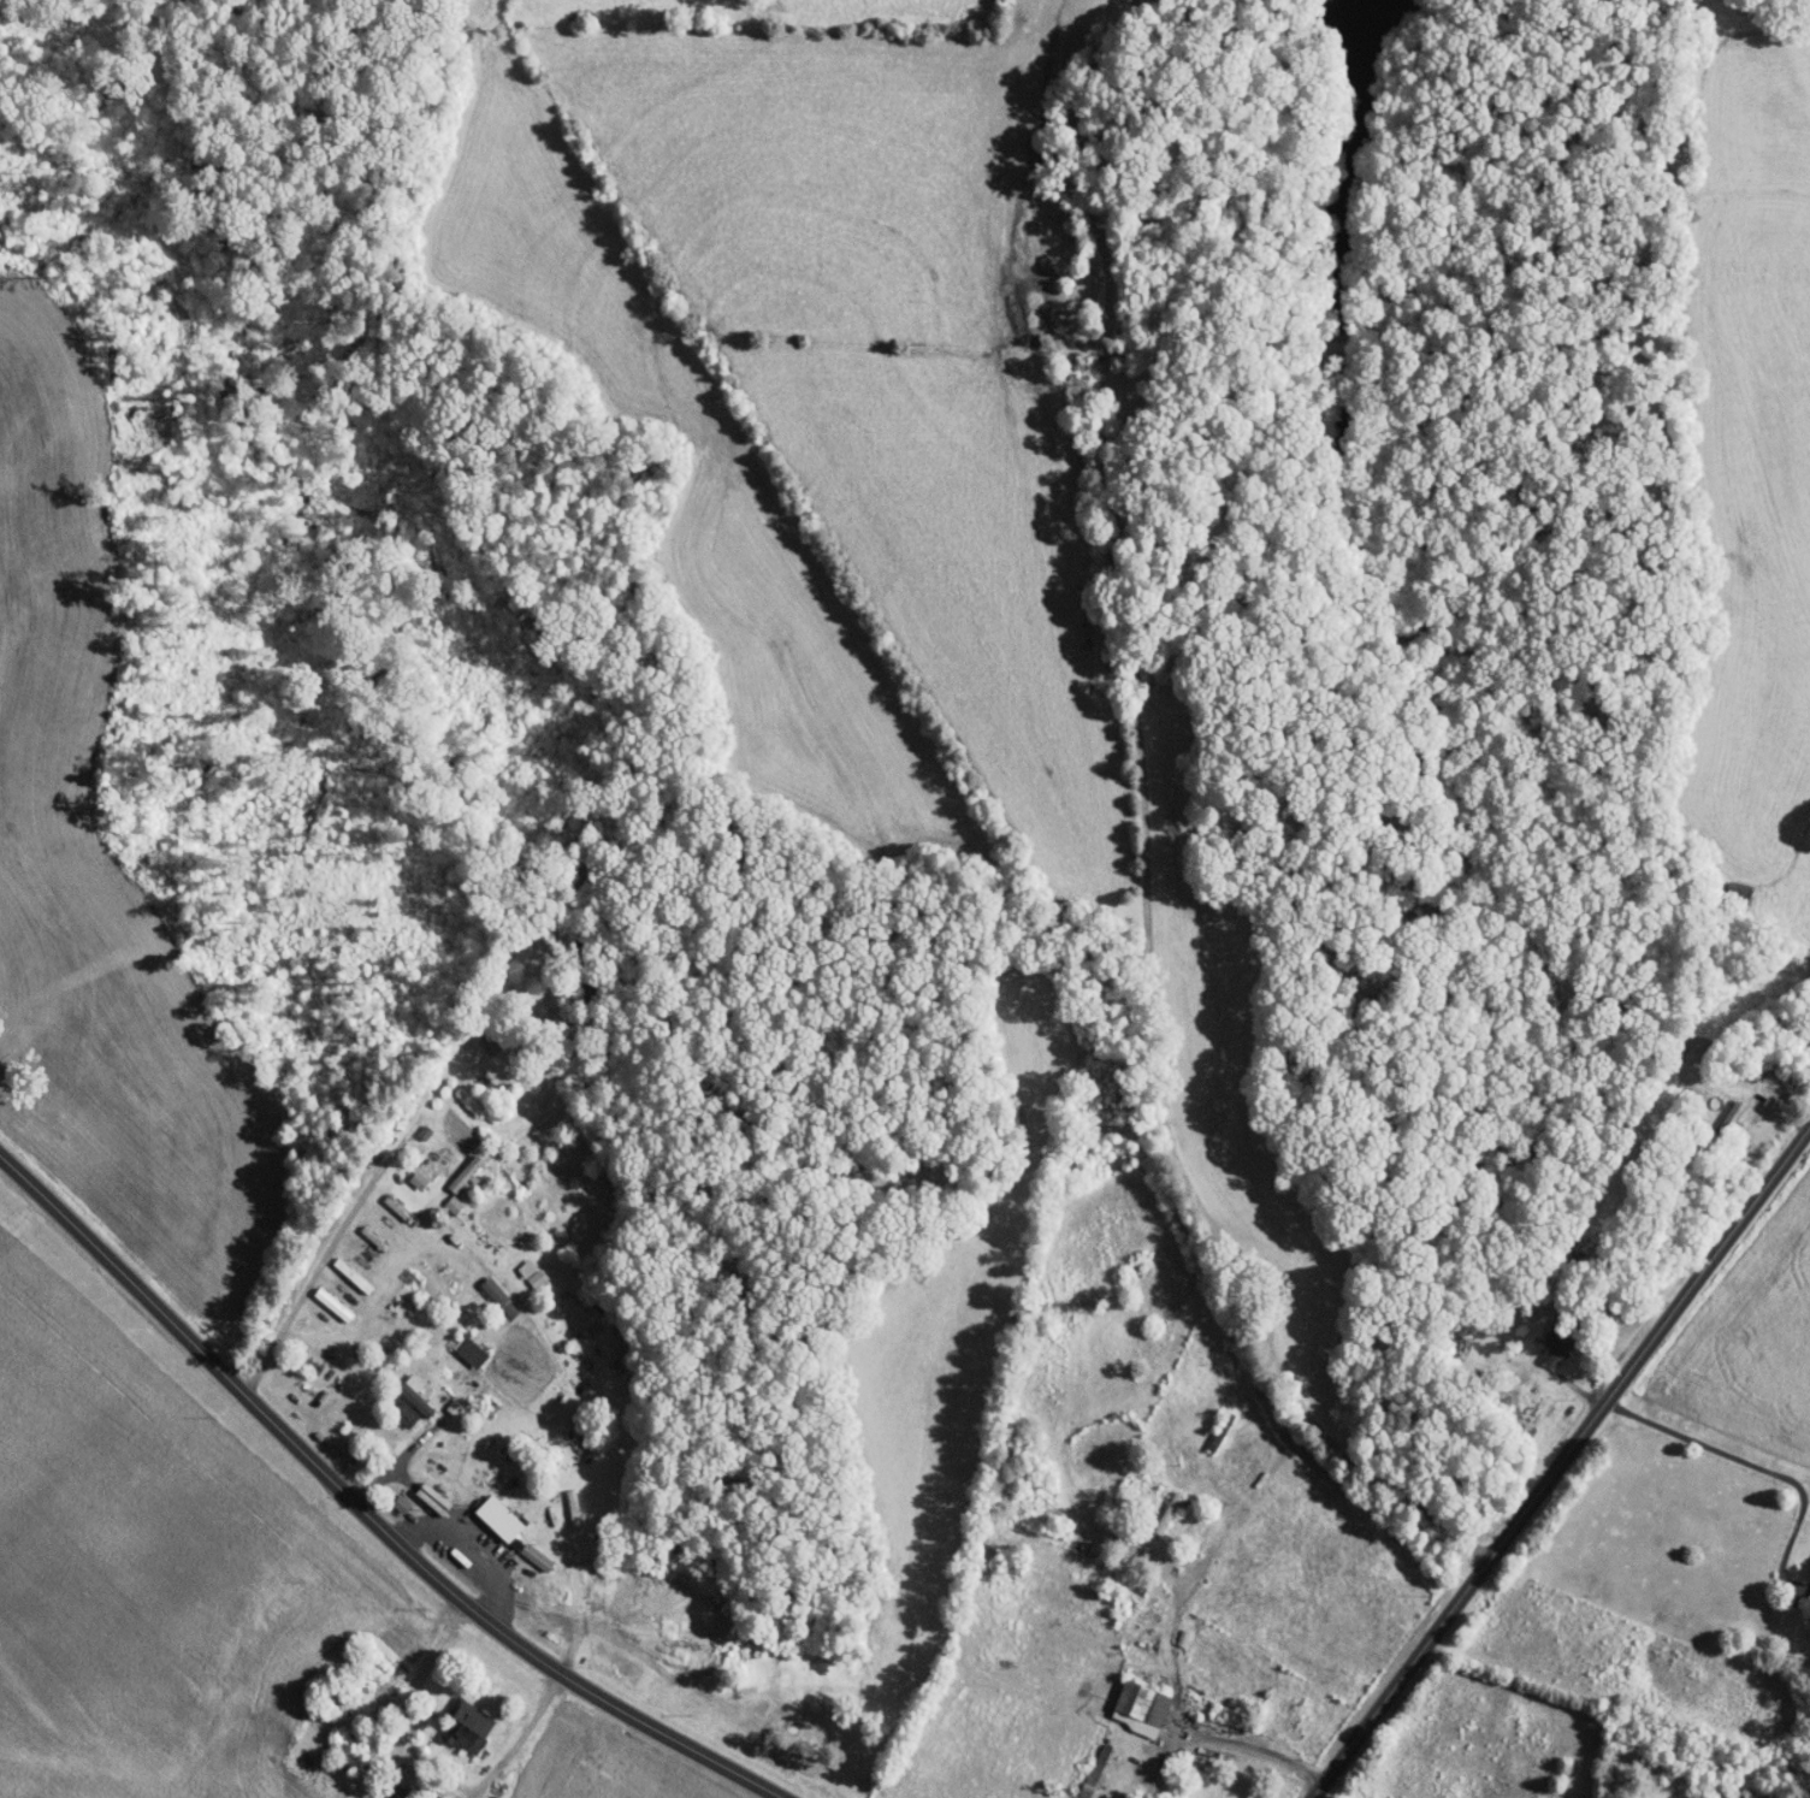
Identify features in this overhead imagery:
road: (1142, 833)
road: (1794, 1092)
building: (1728, 1119)
road: (1770, 1128)
road: (366, 1149)
road: (1092, 1173)
building: (467, 1175)
building: (420, 1179)
road: (383, 1194)
building: (400, 1208)
road: (362, 1228)
building: (375, 1237)
road: (342, 1262)
road: (319, 1266)
building: (533, 1272)
building: (354, 1274)
building: (501, 1297)
building: (335, 1303)
road: (1637, 1325)
road: (300, 1330)
building: (1557, 1347)
building: (472, 1350)
road: (1253, 1372)
road: (1571, 1379)
building: (419, 1394)
building: (457, 1406)
road: (381, 1461)
road: (1561, 1462)
road: (1691, 1497)
building: (1170, 1510)
road: (363, 1512)
building: (503, 1519)
building: (538, 1556)
road: (446, 1581)
road: (428, 1668)
building: (1143, 1707)
building: (468, 1726)
road: (1189, 1735)
road: (520, 1738)
road: (1297, 1766)
building: (1096, 1769)
building: (402, 1787)

